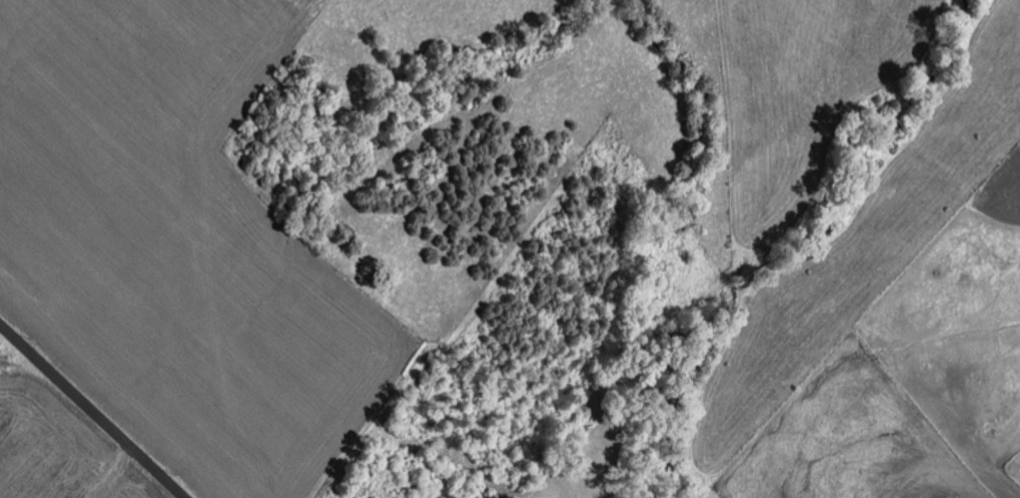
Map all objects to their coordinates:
road: (89, 413)

